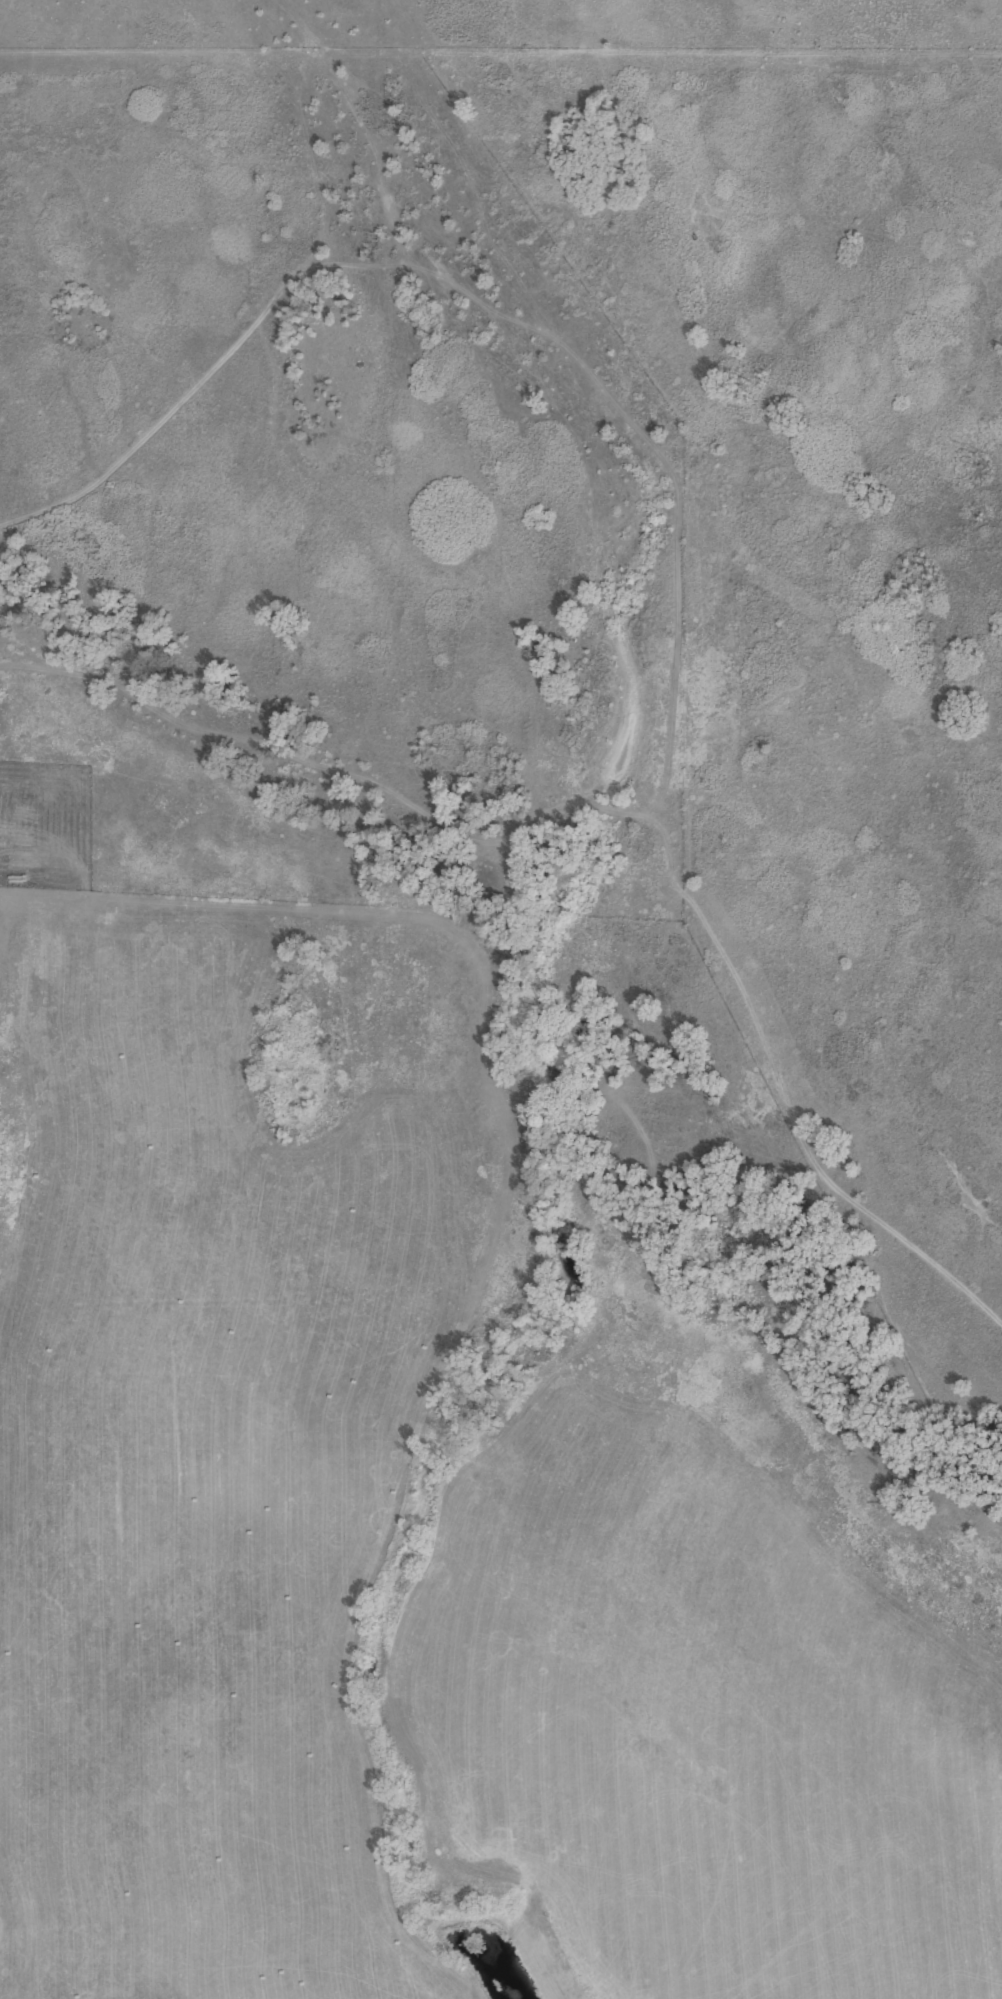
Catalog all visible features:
road: (668, 569)

